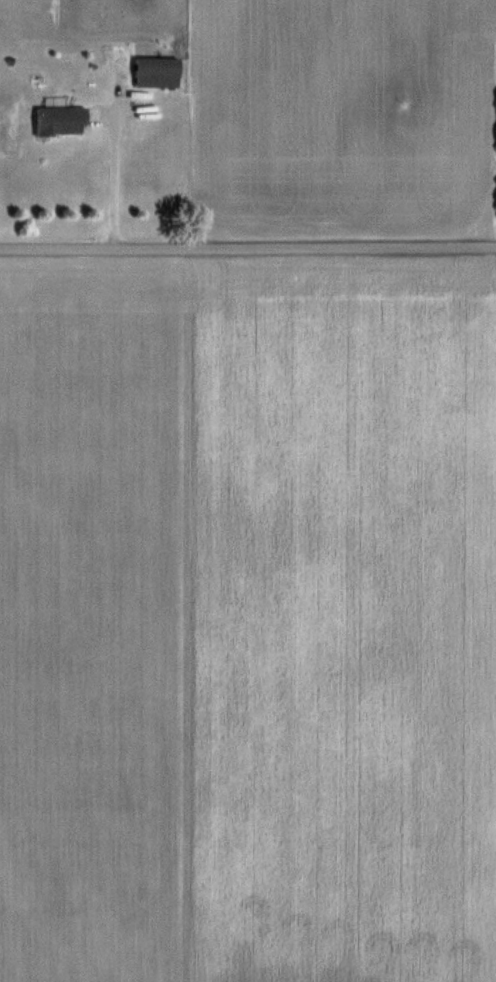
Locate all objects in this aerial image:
building: (158, 72)
building: (62, 120)
road: (112, 177)
road: (247, 254)

